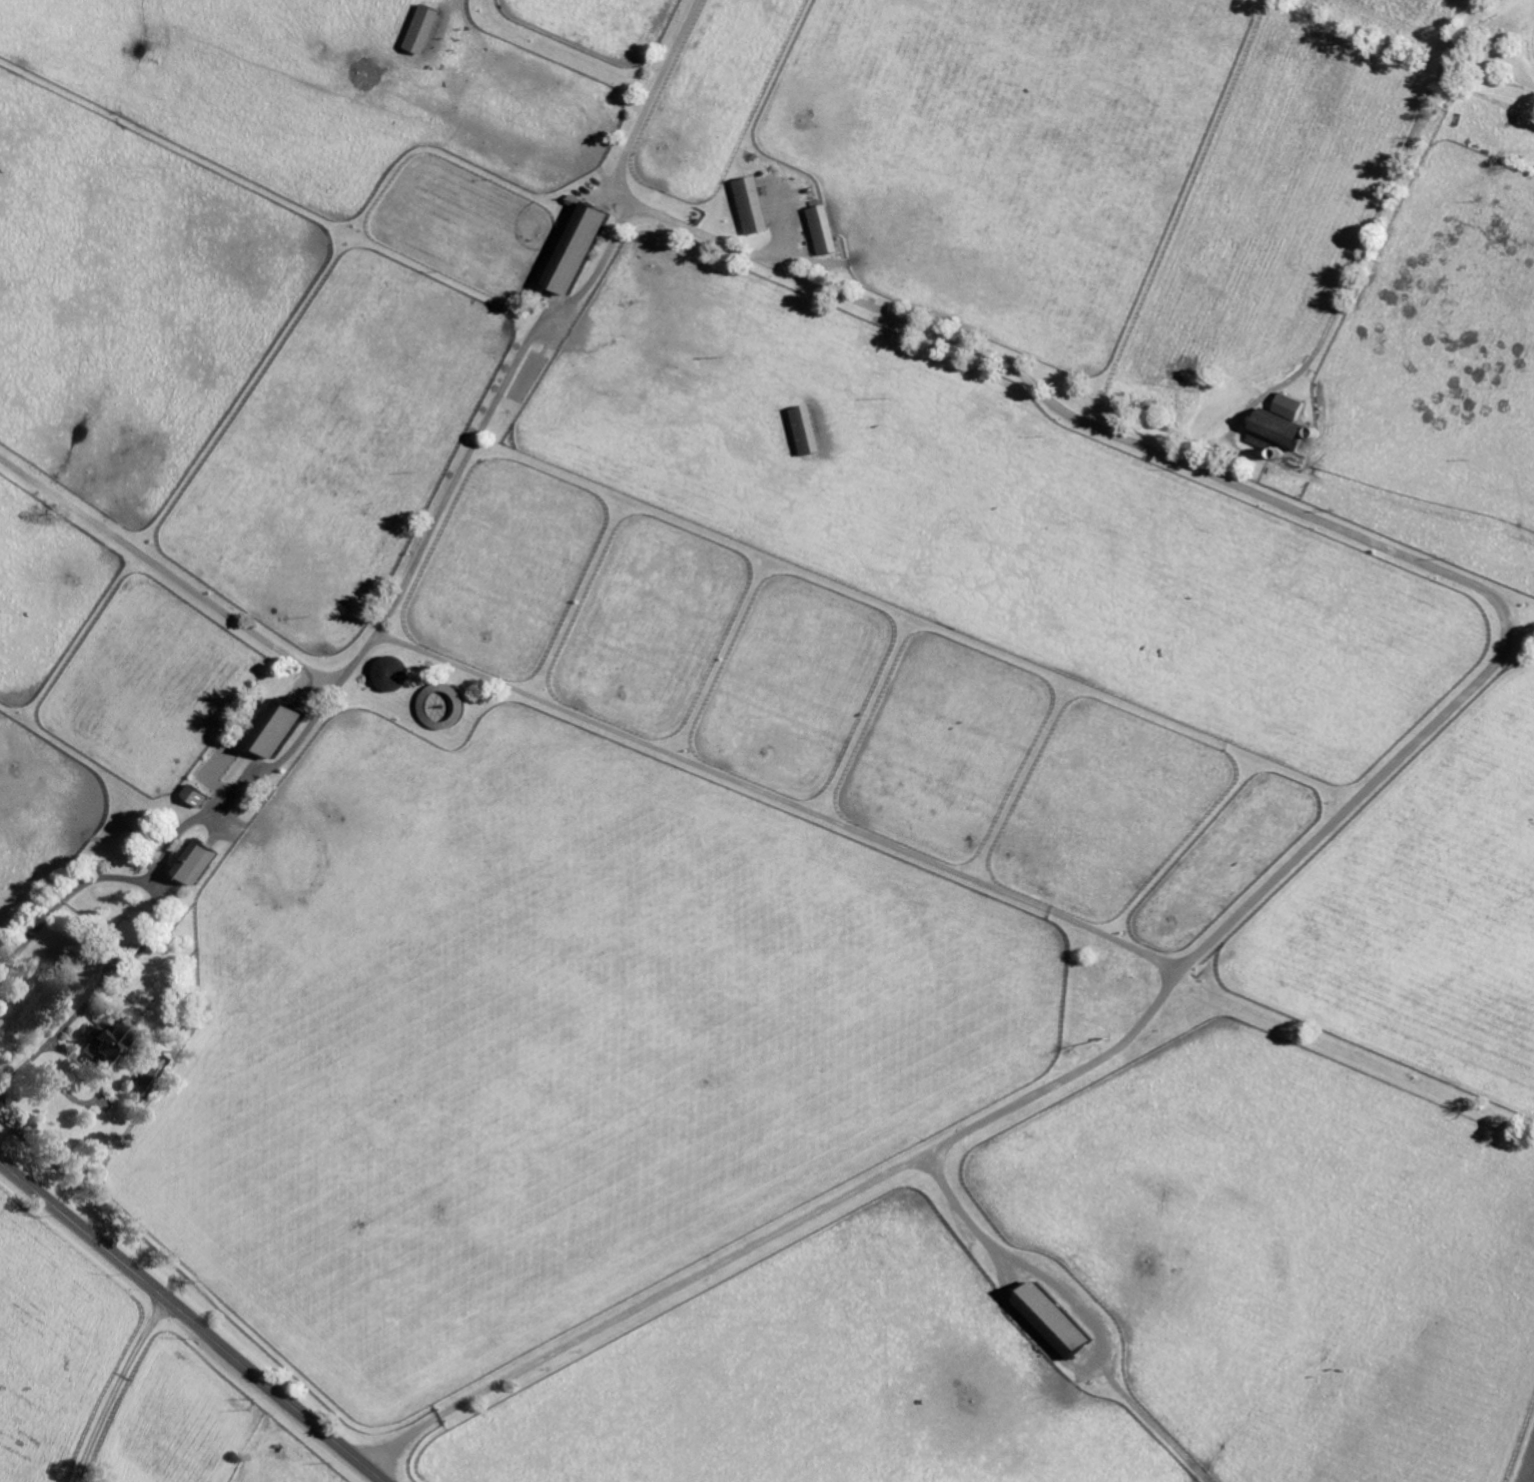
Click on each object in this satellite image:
road: (1533, 1)
building: (428, 28)
road: (1530, 42)
building: (757, 206)
road: (1373, 220)
building: (828, 231)
building: (586, 248)
building: (1284, 406)
building: (812, 428)
building: (1268, 428)
road: (1265, 496)
building: (289, 724)
building: (204, 793)
building: (205, 858)
road: (99, 990)
building: (109, 1043)
road: (1078, 1305)
building: (1063, 1321)
road: (192, 1322)
road: (117, 1389)

